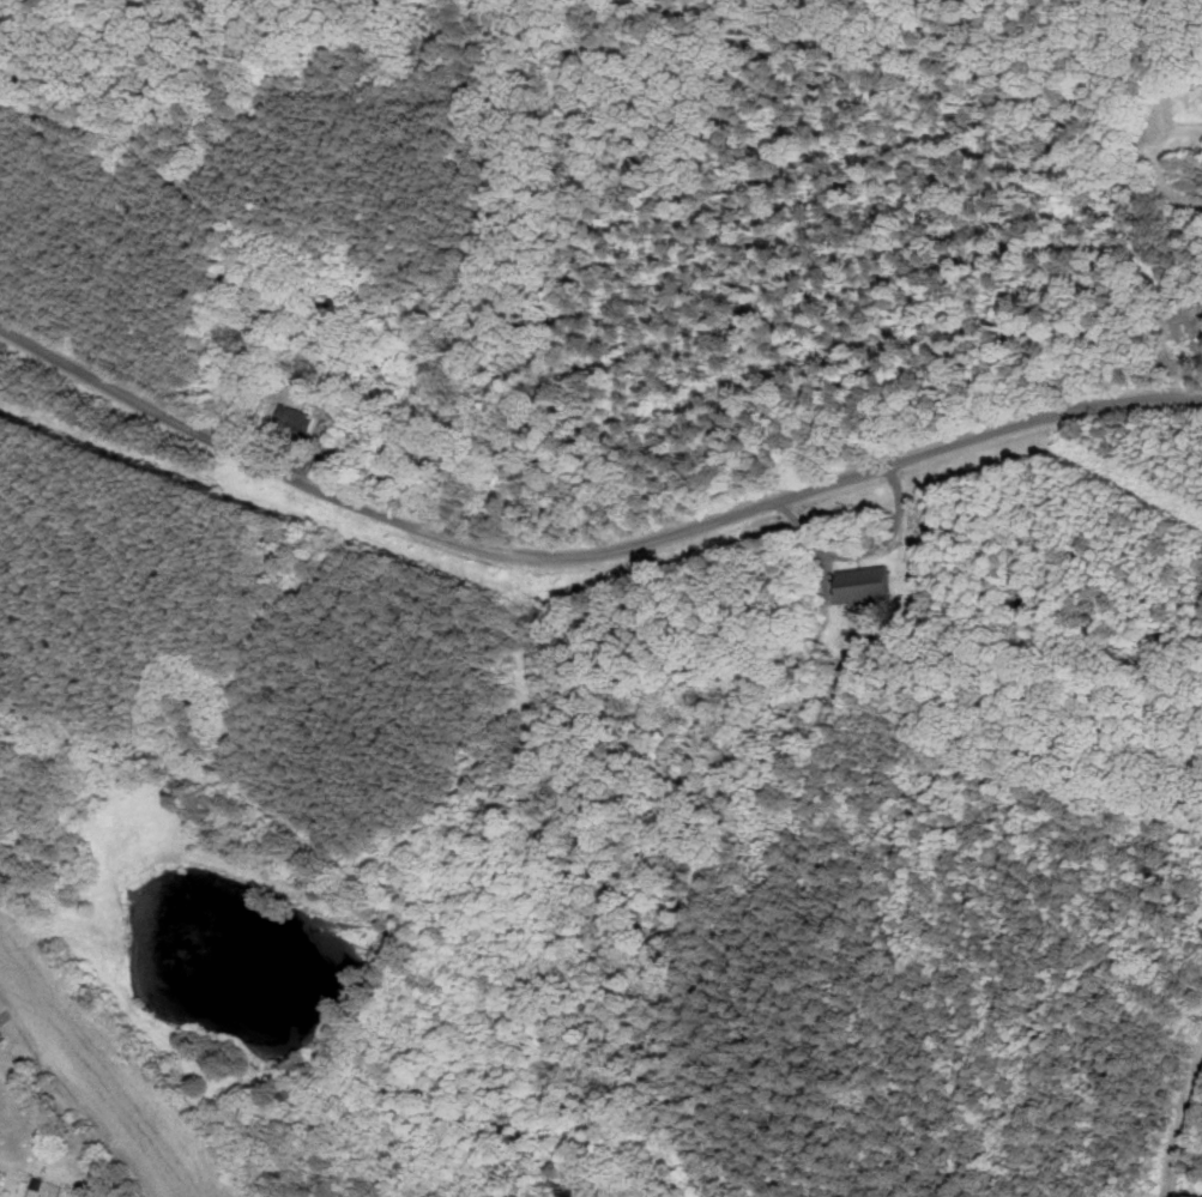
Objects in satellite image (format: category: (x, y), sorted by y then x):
road: (586, 556)
building: (869, 582)
building: (2, 1033)
airport runway: (103, 1064)
building: (2, 1178)

